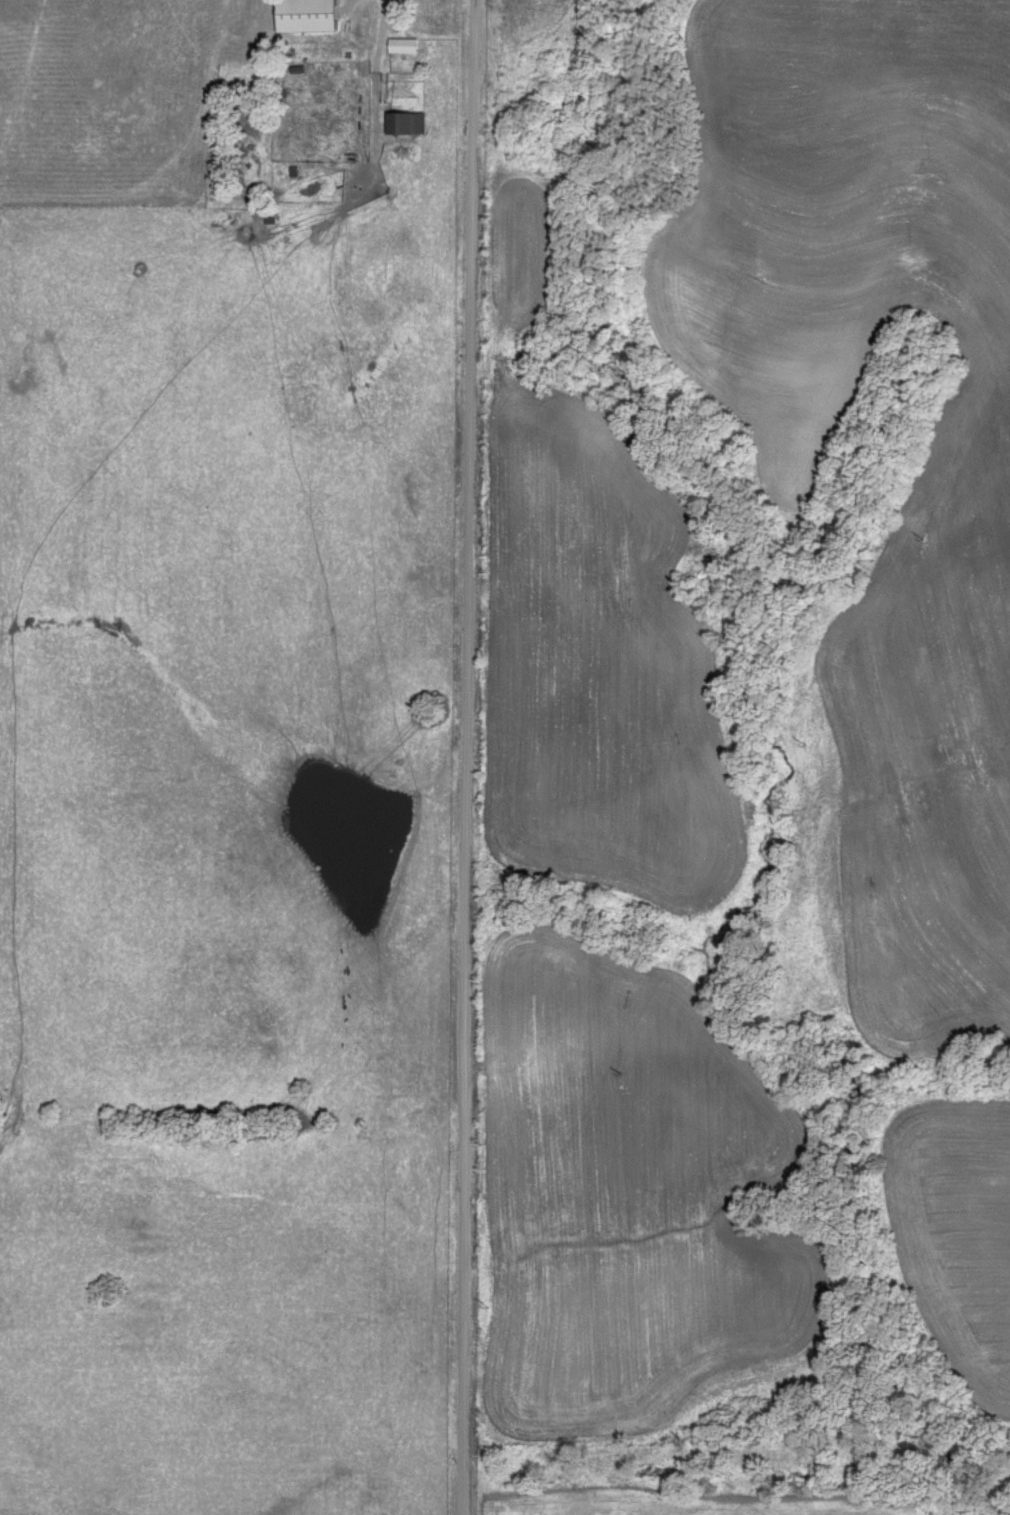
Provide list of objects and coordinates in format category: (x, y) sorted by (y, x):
building: (301, 15)
building: (401, 44)
building: (402, 122)
road: (474, 757)

